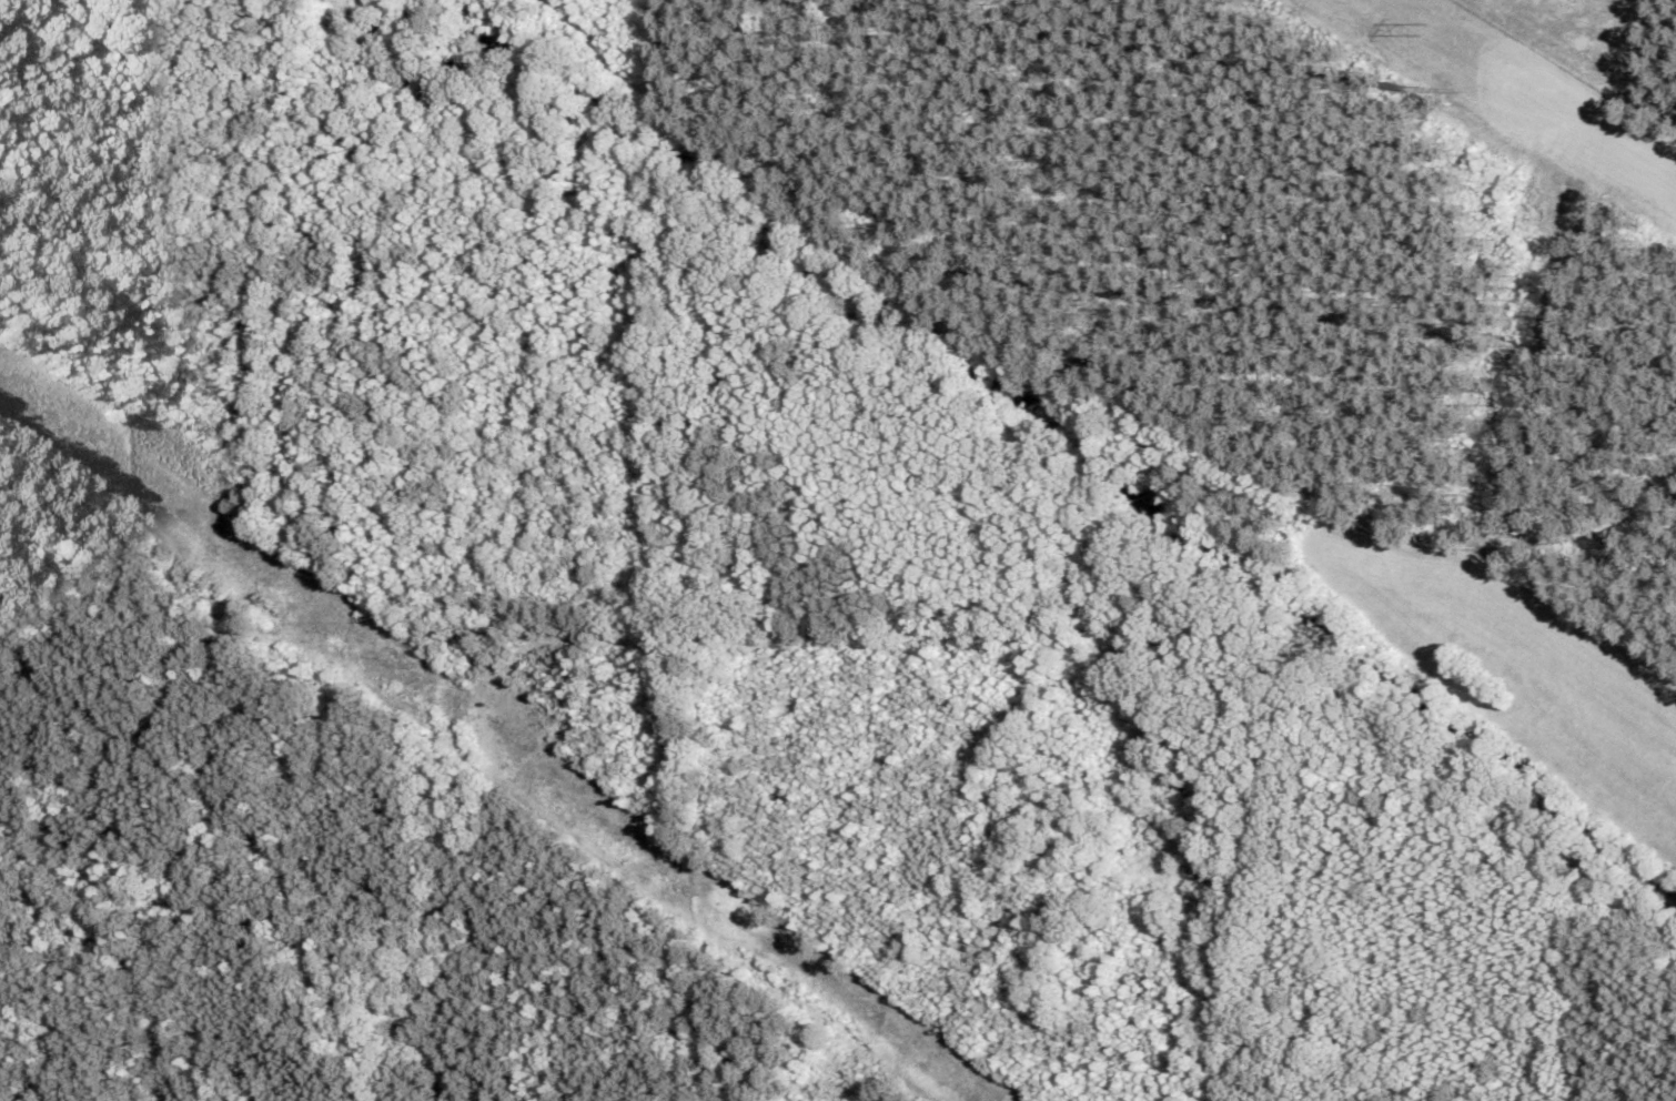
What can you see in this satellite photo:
power tower: (1416, 29)

